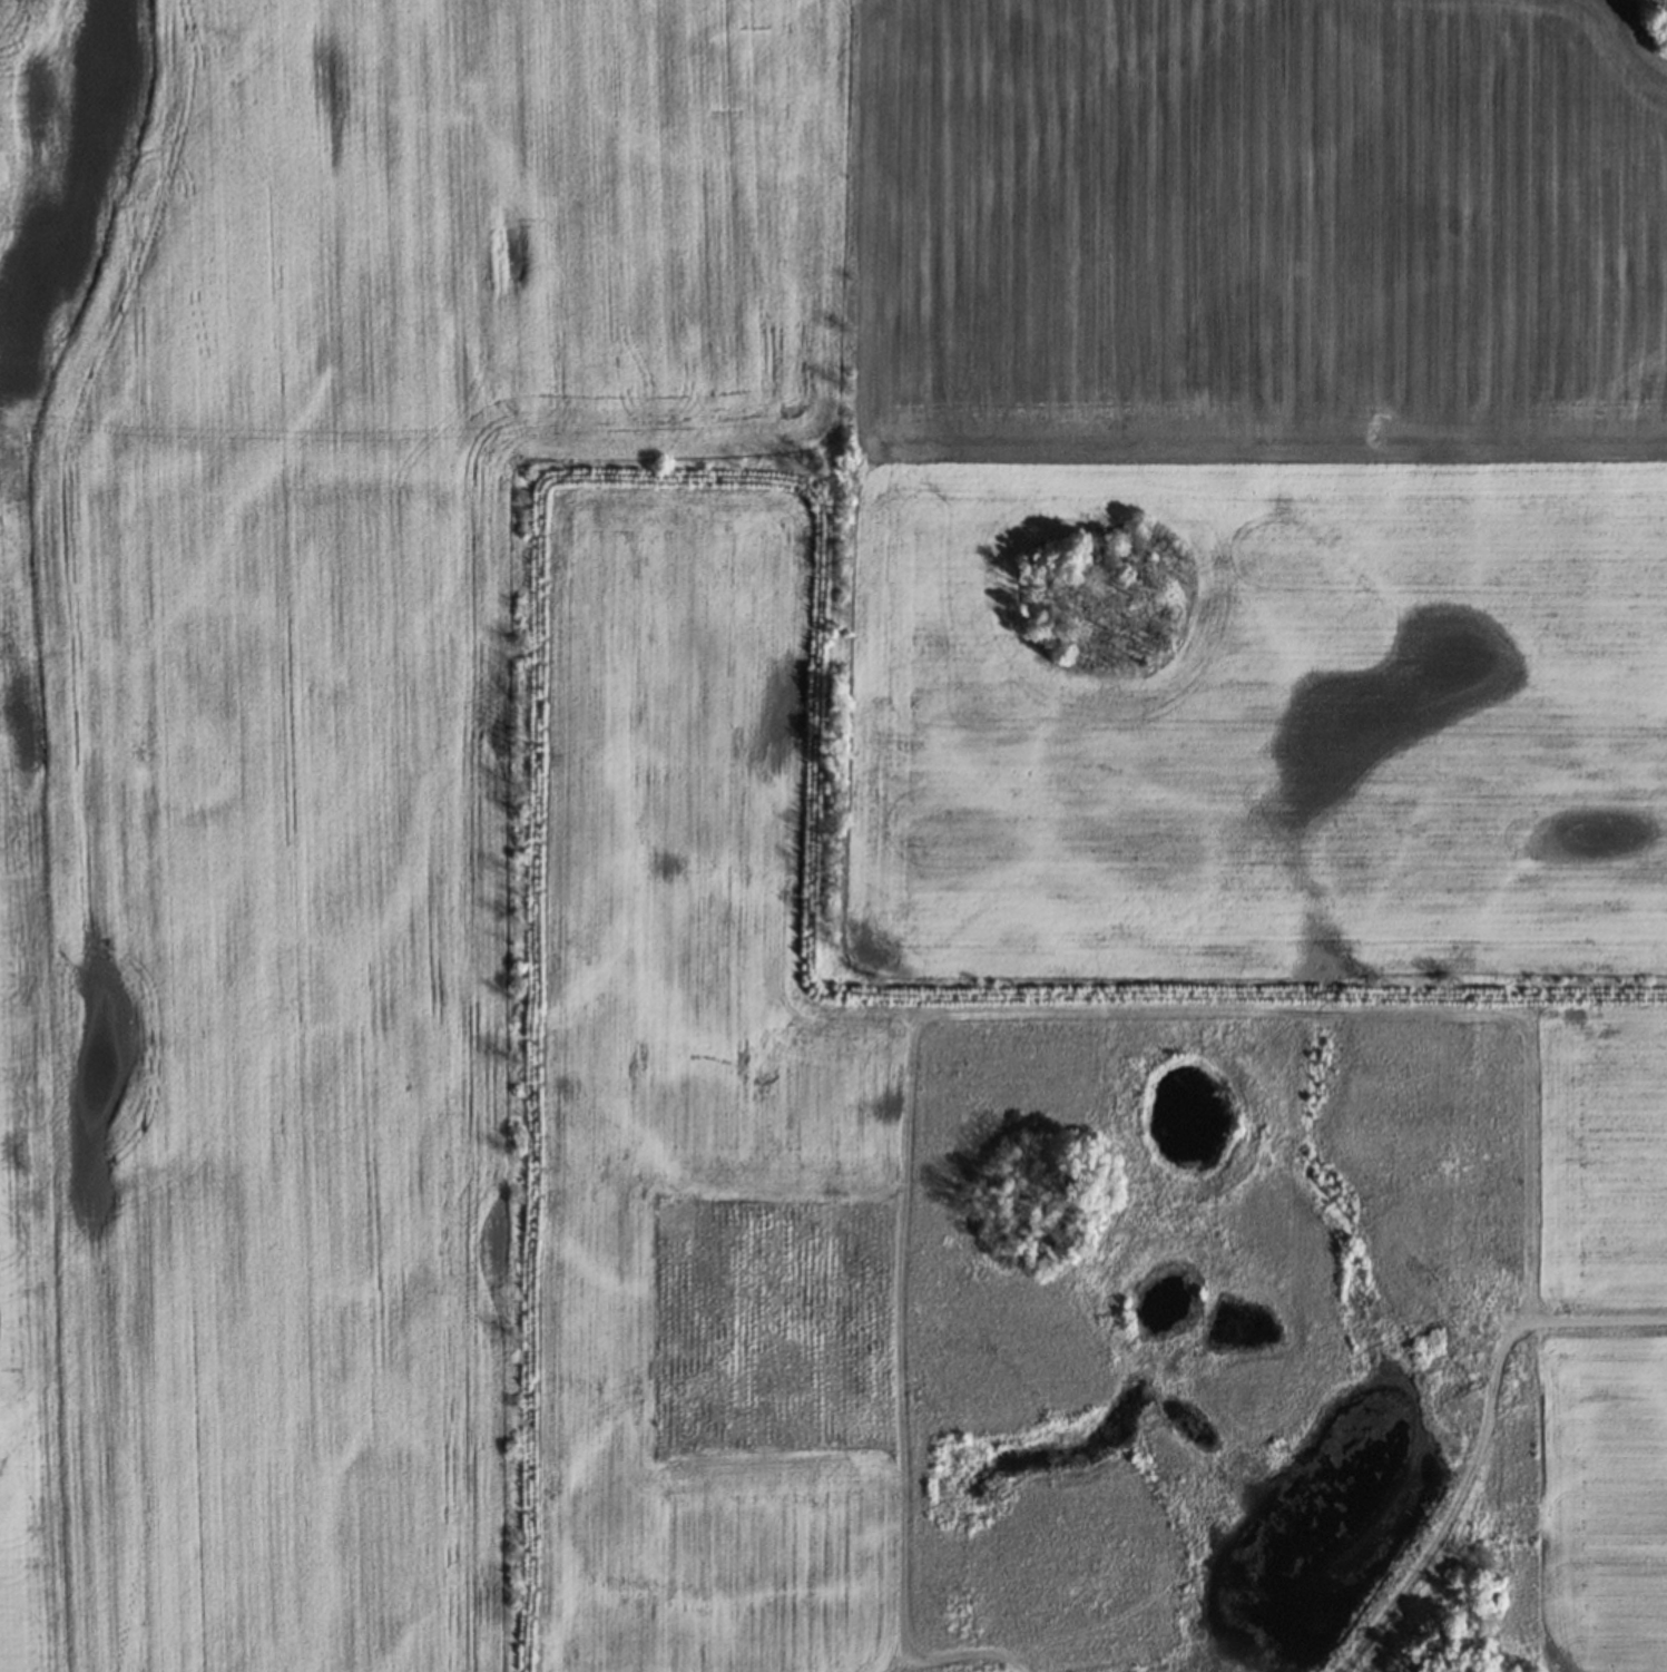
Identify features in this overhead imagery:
road: (1482, 1443)

